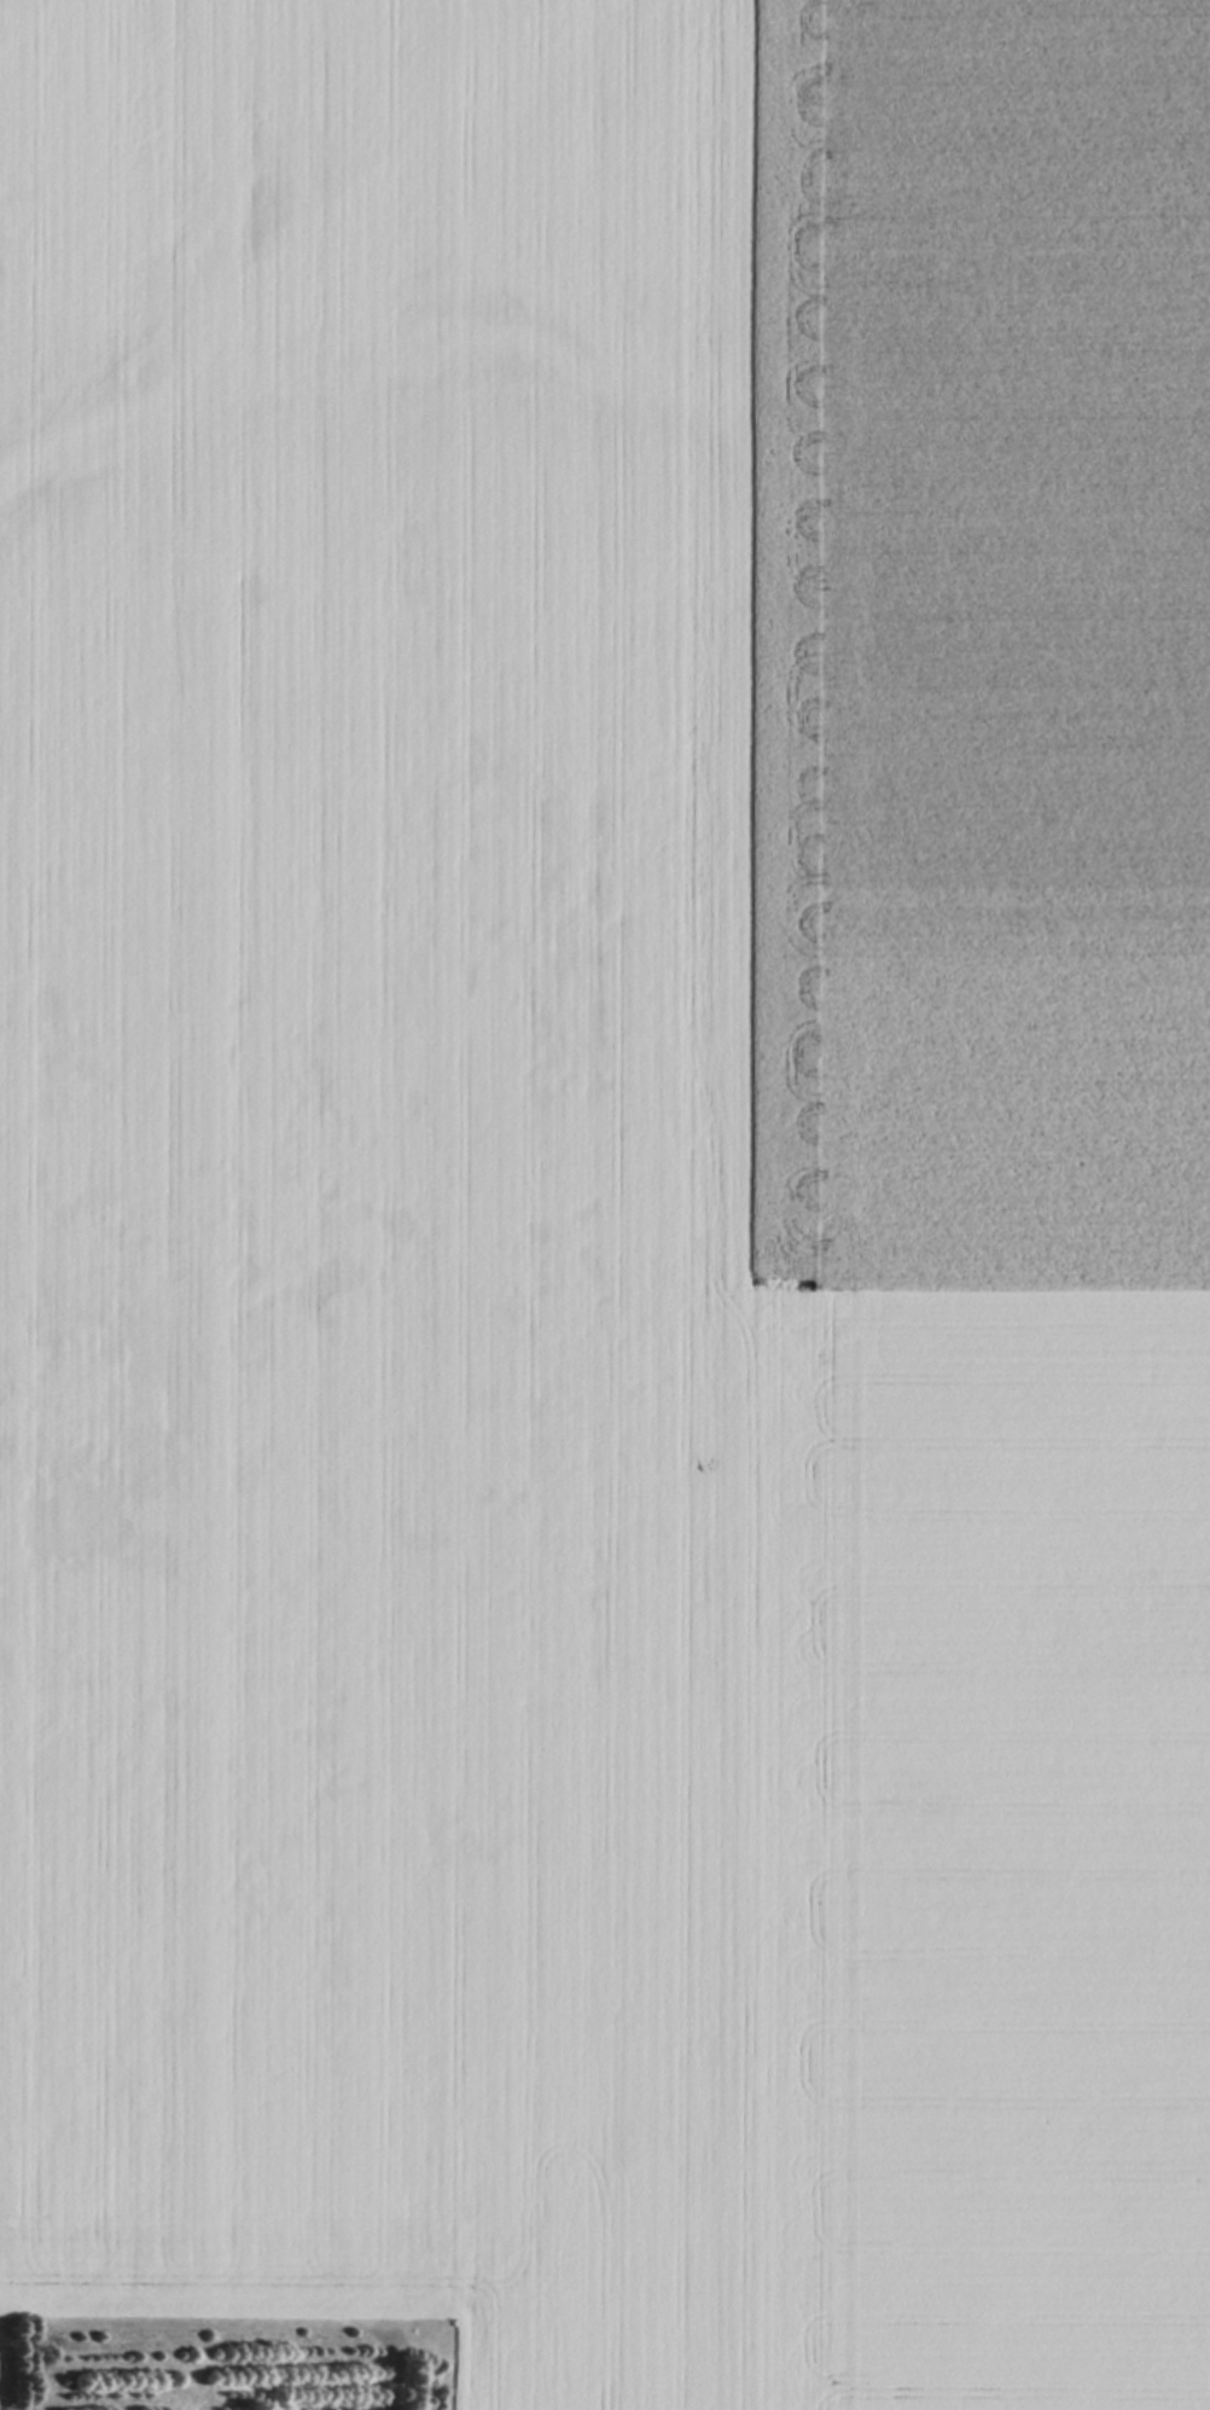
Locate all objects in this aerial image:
crop: (985, 634)
crop: (402, 1198)
crop: (1020, 1837)

